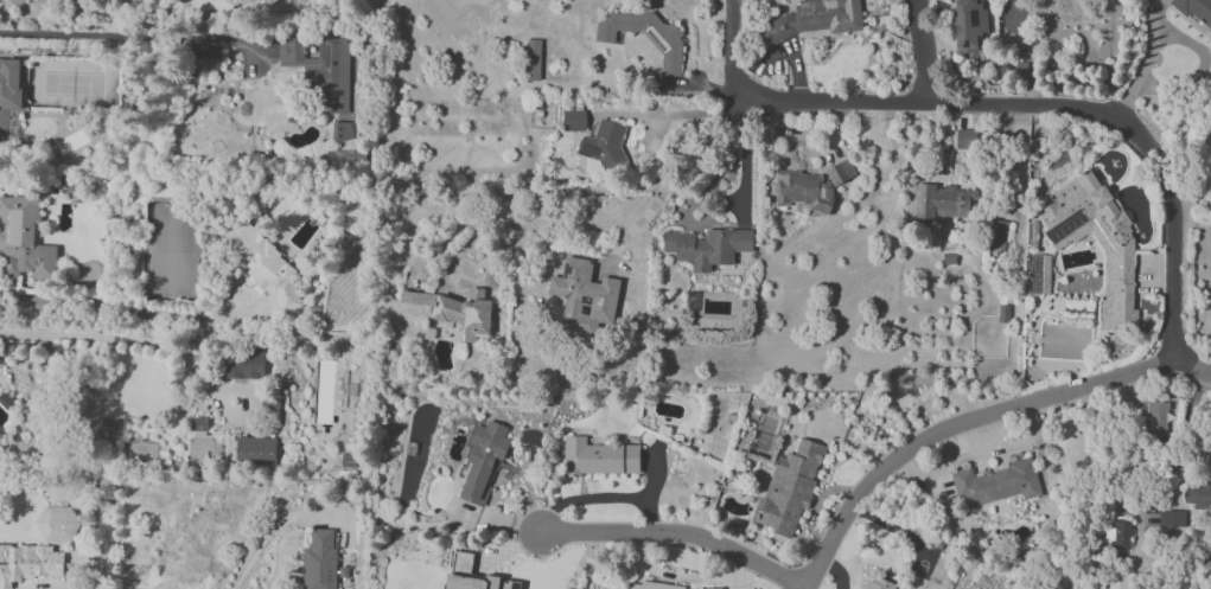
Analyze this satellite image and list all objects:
building: (234, 0)
building: (270, 0)
building: (1194, 9)
building: (815, 19)
building: (969, 24)
building: (668, 41)
road: (923, 51)
building: (533, 59)
road: (1146, 63)
building: (321, 70)
building: (8, 94)
road: (1013, 105)
road: (681, 111)
building: (574, 120)
building: (342, 130)
building: (965, 139)
building: (605, 142)
road: (745, 158)
building: (841, 172)
road: (675, 178)
building: (803, 191)
road: (529, 196)
building: (943, 200)
building: (998, 232)
building: (23, 239)
building: (708, 247)
building: (1122, 250)
building: (262, 263)
building: (1037, 274)
building: (584, 297)
road: (129, 309)
building: (451, 309)
road: (102, 338)
building: (242, 364)
road: (1192, 371)
building: (1158, 415)
building: (198, 423)
road: (957, 429)
building: (256, 450)
building: (599, 456)
road: (1133, 456)
building: (348, 460)
building: (482, 460)
building: (996, 484)
building: (790, 486)
building: (1199, 493)
building: (1172, 518)
road: (274, 530)
road: (676, 534)
building: (1118, 536)
building: (320, 559)
building: (28, 562)
building: (472, 575)
road: (682, 578)
building: (1121, 581)
building: (877, 583)
building: (657, 585)

